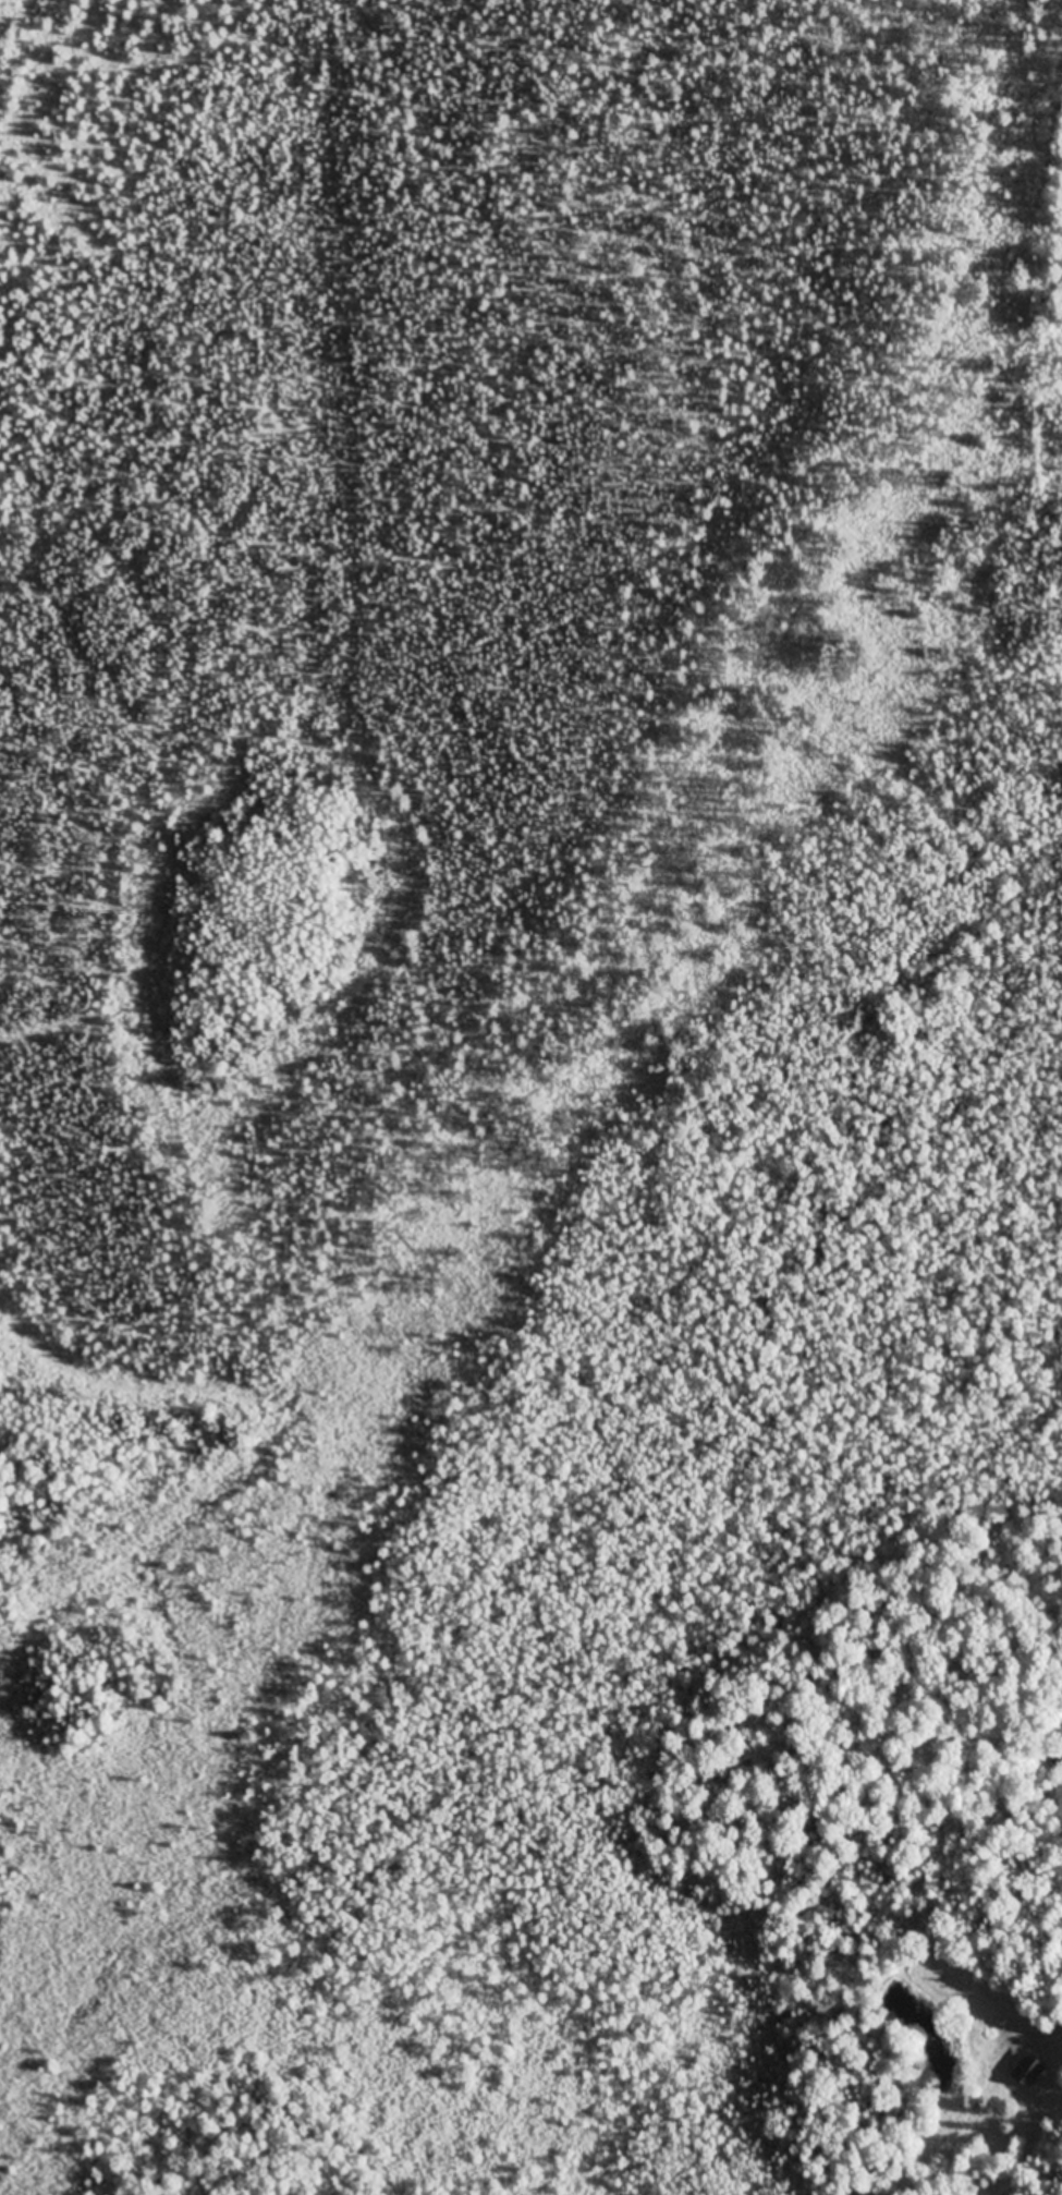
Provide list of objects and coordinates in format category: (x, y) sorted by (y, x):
building: (1027, 2067)

